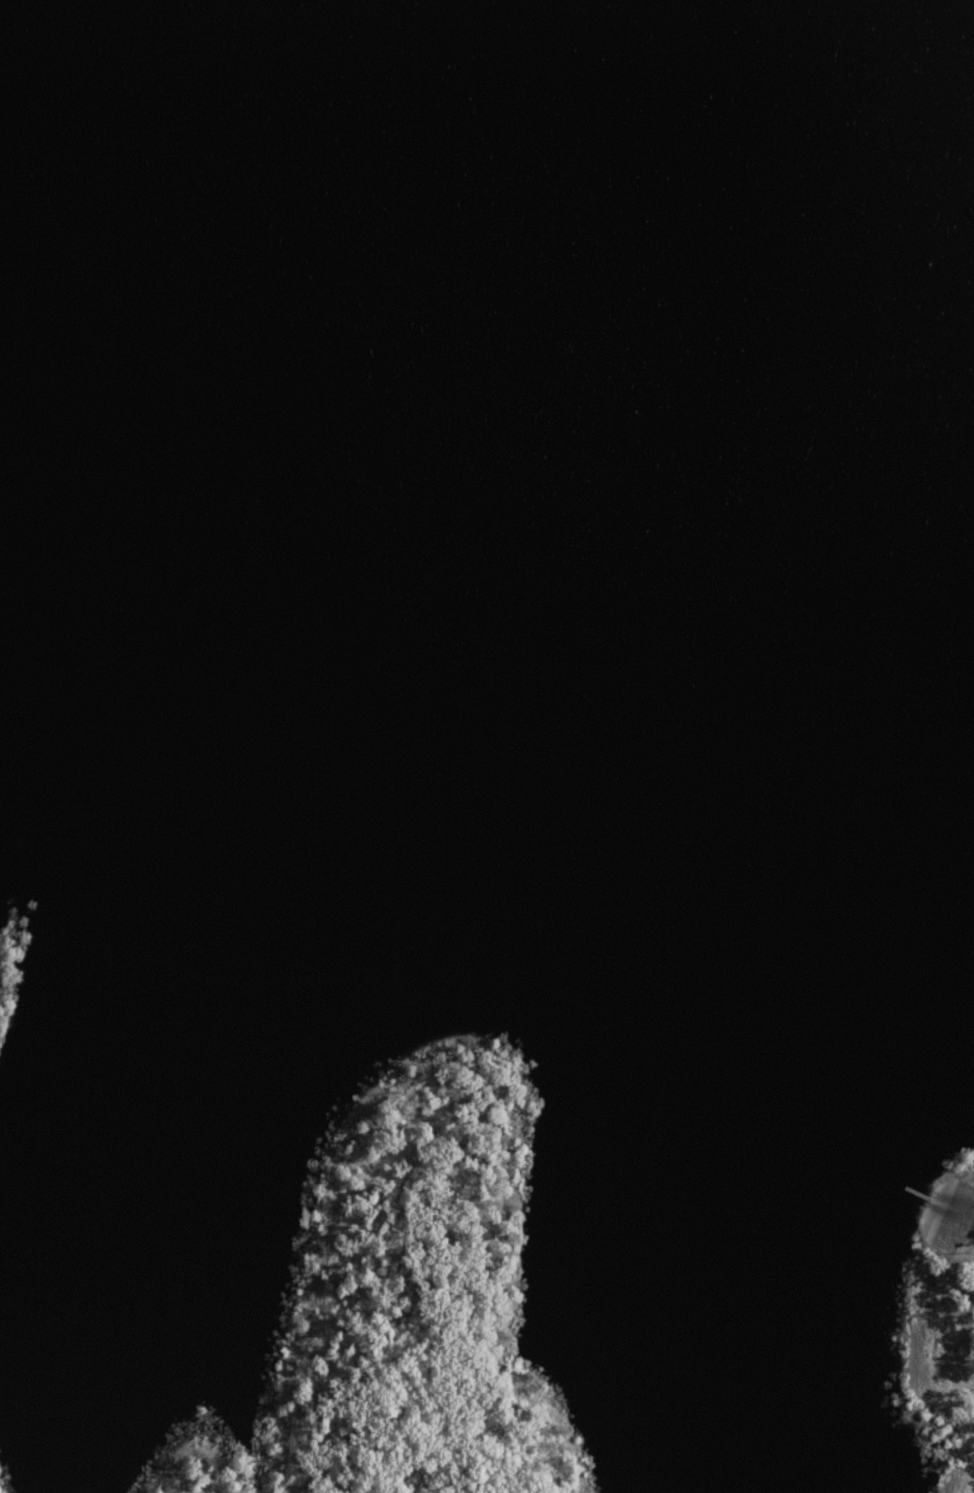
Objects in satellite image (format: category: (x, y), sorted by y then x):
road: (967, 1213)
road: (954, 1214)

